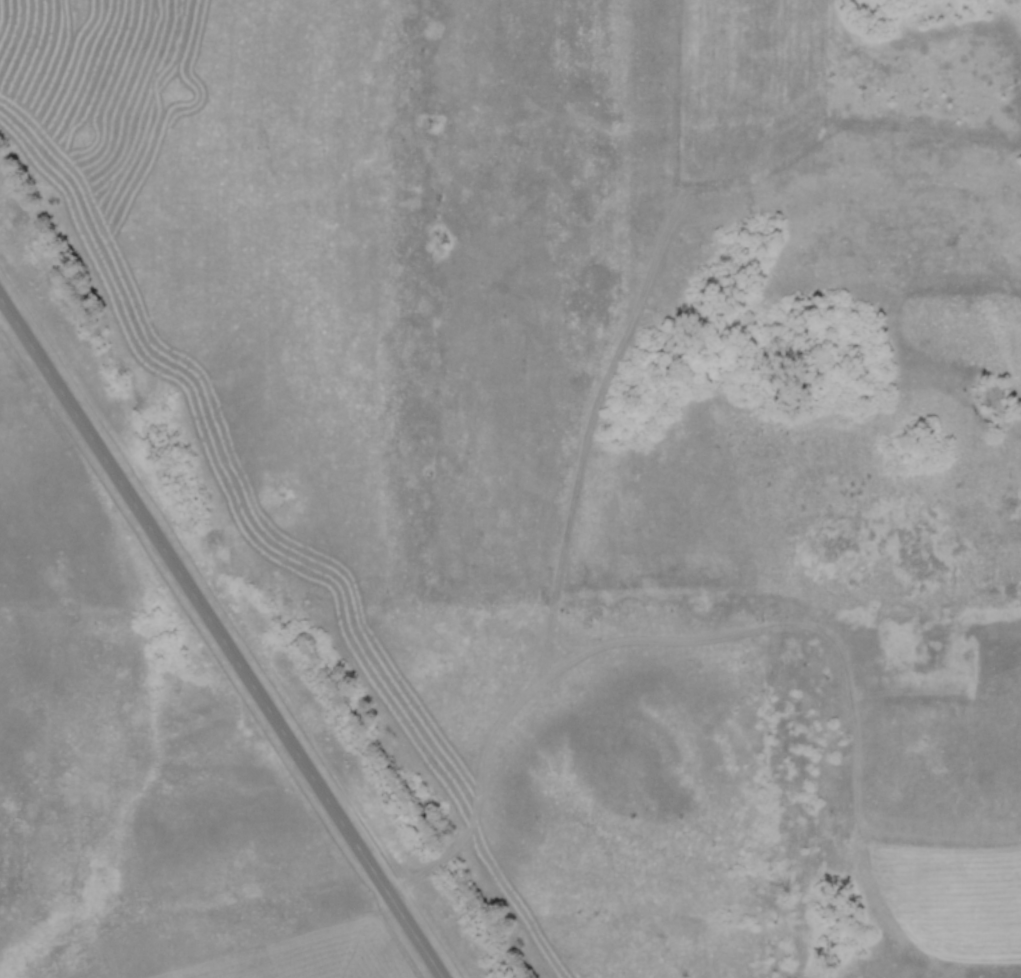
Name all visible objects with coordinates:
road: (222, 636)

